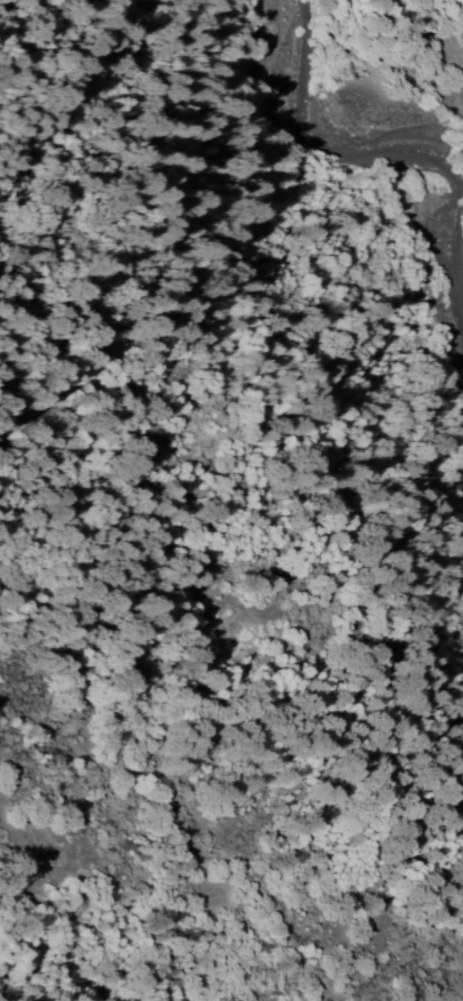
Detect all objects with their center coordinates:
road: (197, 813)

